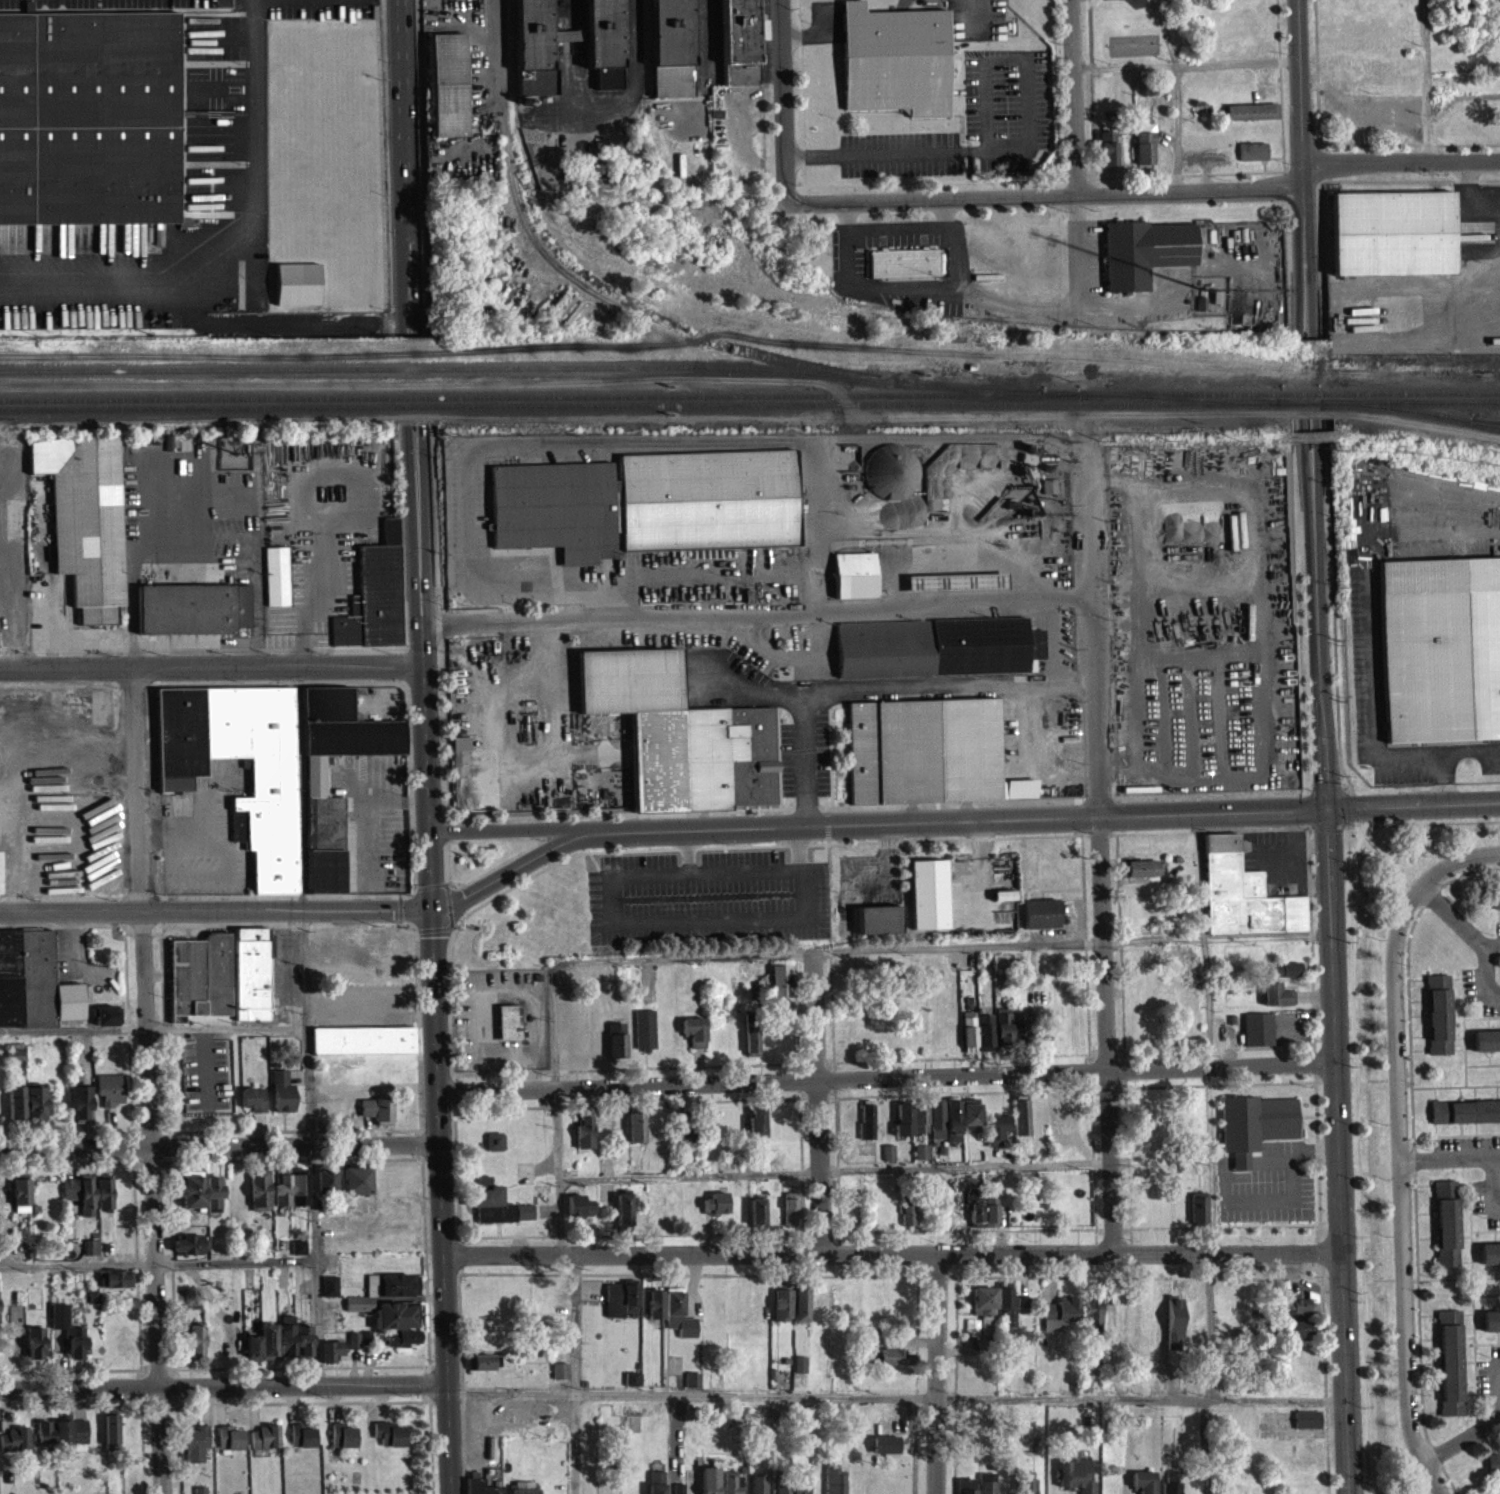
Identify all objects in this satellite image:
parking lot: (120, 5)
building: (601, 46)
building: (740, 46)
building: (672, 51)
building: (533, 52)
road: (1185, 66)
building: (895, 67)
road: (1425, 81)
building: (447, 92)
road: (1176, 93)
road: (1073, 95)
road: (782, 101)
road: (406, 115)
building: (1251, 118)
building: (90, 119)
road: (1019, 149)
building: (1144, 151)
building: (1106, 156)
building: (1251, 158)
road: (1302, 163)
road: (1035, 177)
road: (1145, 189)
road: (947, 216)
road: (845, 219)
building: (1391, 240)
road: (959, 251)
building: (1143, 259)
road: (250, 265)
building: (903, 270)
road: (401, 280)
road: (416, 281)
building: (297, 291)
road: (1167, 300)
railway: (672, 324)
road: (1302, 334)
road: (1309, 334)
railway: (344, 368)
railway: (866, 378)
railway: (1304, 391)
railway: (1075, 392)
railway: (742, 394)
railway: (415, 396)
railway: (194, 397)
railway: (1177, 397)
railway: (1410, 401)
railway: (881, 403)
railway: (416, 406)
railway: (195, 407)
railway: (1383, 407)
railway: (1473, 420)
railway: (1473, 422)
road: (1306, 449)
road: (1313, 449)
building: (890, 479)
building: (1048, 492)
building: (647, 500)
road: (424, 523)
road: (409, 524)
building: (86, 527)
building: (389, 537)
road: (543, 578)
building: (853, 582)
building: (276, 584)
building: (955, 589)
road: (604, 600)
building: (372, 608)
road: (755, 614)
building: (193, 616)
road: (1319, 635)
building: (935, 644)
building: (1440, 646)
road: (212, 668)
road: (554, 681)
road: (429, 730)
building: (679, 732)
building: (927, 749)
road: (1442, 749)
building: (459, 750)
building: (314, 783)
building: (272, 797)
road: (1414, 808)
traffic signals: (1329, 813)
road: (882, 827)
road: (180, 834)
road: (1096, 852)
road: (1481, 852)
building: (1139, 875)
building: (0, 881)
building: (927, 901)
building: (1242, 901)
building: (1003, 903)
building: (1496, 905)
road: (1452, 912)
road: (310, 914)
traffic signals: (439, 916)
building: (1039, 921)
building: (877, 927)
road: (1216, 936)
road: (1489, 942)
road: (955, 944)
road: (624, 959)
building: (1285, 976)
road: (812, 977)
road: (1481, 978)
building: (251, 981)
building: (200, 984)
building: (779, 988)
building: (33, 989)
building: (1276, 1002)
building: (1438, 1022)
building: (107, 1023)
road: (229, 1026)
building: (509, 1029)
road: (307, 1032)
building: (968, 1036)
building: (1009, 1036)
building: (1256, 1036)
building: (644, 1037)
building: (694, 1038)
building: (984, 1040)
building: (616, 1047)
building: (362, 1048)
building: (1486, 1048)
building: (15, 1058)
road: (888, 1076)
road: (152, 1081)
building: (109, 1096)
building: (282, 1099)
building: (253, 1106)
building: (15, 1110)
building: (80, 1110)
building: (34, 1111)
building: (377, 1117)
building: (1055, 1118)
building: (969, 1119)
building: (1465, 1119)
building: (1020, 1124)
building: (910, 1126)
building: (936, 1127)
building: (952, 1127)
building: (866, 1129)
building: (756, 1130)
building: (1255, 1132)
building: (635, 1134)
building: (682, 1134)
building: (995, 1136)
building: (583, 1140)
building: (494, 1149)
road: (220, 1151)
road: (1495, 1152)
road: (1340, 1153)
road: (1447, 1154)
building: (887, 1160)
building: (920, 1160)
road: (1404, 1164)
road: (442, 1165)
road: (1491, 1184)
building: (325, 1188)
building: (356, 1188)
building: (483, 1190)
building: (281, 1195)
building: (298, 1195)
building: (190, 1197)
building: (258, 1200)
building: (79, 1201)
building: (102, 1201)
building: (213, 1201)
building: (20, 1203)
building: (715, 1211)
building: (578, 1213)
building: (496, 1214)
building: (1198, 1214)
building: (790, 1216)
building: (974, 1216)
building: (989, 1216)
building: (623, 1219)
building: (756, 1220)
building: (906, 1222)
building: (1446, 1231)
building: (187, 1252)
building: (90, 1255)
building: (298, 1256)
road: (894, 1256)
building: (1489, 1260)
road: (236, 1261)
road: (314, 1269)
road: (79, 1274)
building: (115, 1286)
building: (330, 1294)
building: (383, 1297)
building: (620, 1307)
building: (983, 1309)
building: (789, 1310)
building: (653, 1312)
building: (1021, 1312)
building: (1005, 1313)
building: (1295, 1314)
building: (677, 1321)
building: (1059, 1321)
building: (1092, 1321)
building: (395, 1323)
road: (1206, 1325)
building: (1490, 1328)
building: (1295, 1337)
building: (67, 1338)
building: (286, 1343)
building: (400, 1345)
building: (195, 1348)
building: (304, 1349)
building: (34, 1350)
building: (353, 1350)
building: (261, 1351)
building: (331, 1358)
building: (894, 1364)
building: (484, 1369)
building: (1450, 1370)
building: (799, 1372)
road: (575, 1375)
road: (940, 1375)
building: (559, 1378)
building: (692, 1387)
road: (1496, 1387)
road: (224, 1389)
road: (694, 1392)
road: (1145, 1397)
road: (1498, 1415)
building: (1306, 1427)
road: (1460, 1437)
building: (43, 1439)
building: (70, 1439)
building: (110, 1439)
building: (389, 1442)
building: (302, 1443)
building: (343, 1443)
building: (264, 1445)
road: (1204, 1445)
building: (229, 1446)
building: (14, 1447)
building: (195, 1450)
building: (883, 1454)
building: (1493, 1471)
building: (1072, 1479)
building: (708, 1484)
building: (833, 1484)
building: (656, 1485)
building: (731, 1486)
building: (1141, 1486)
building: (1170, 1486)
building: (475, 1487)
building: (757, 1488)
building: (966, 1489)
building: (1025, 1490)
building: (523, 1491)
building: (986, 1491)
building: (655, 1492)
building: (790, 1492)

